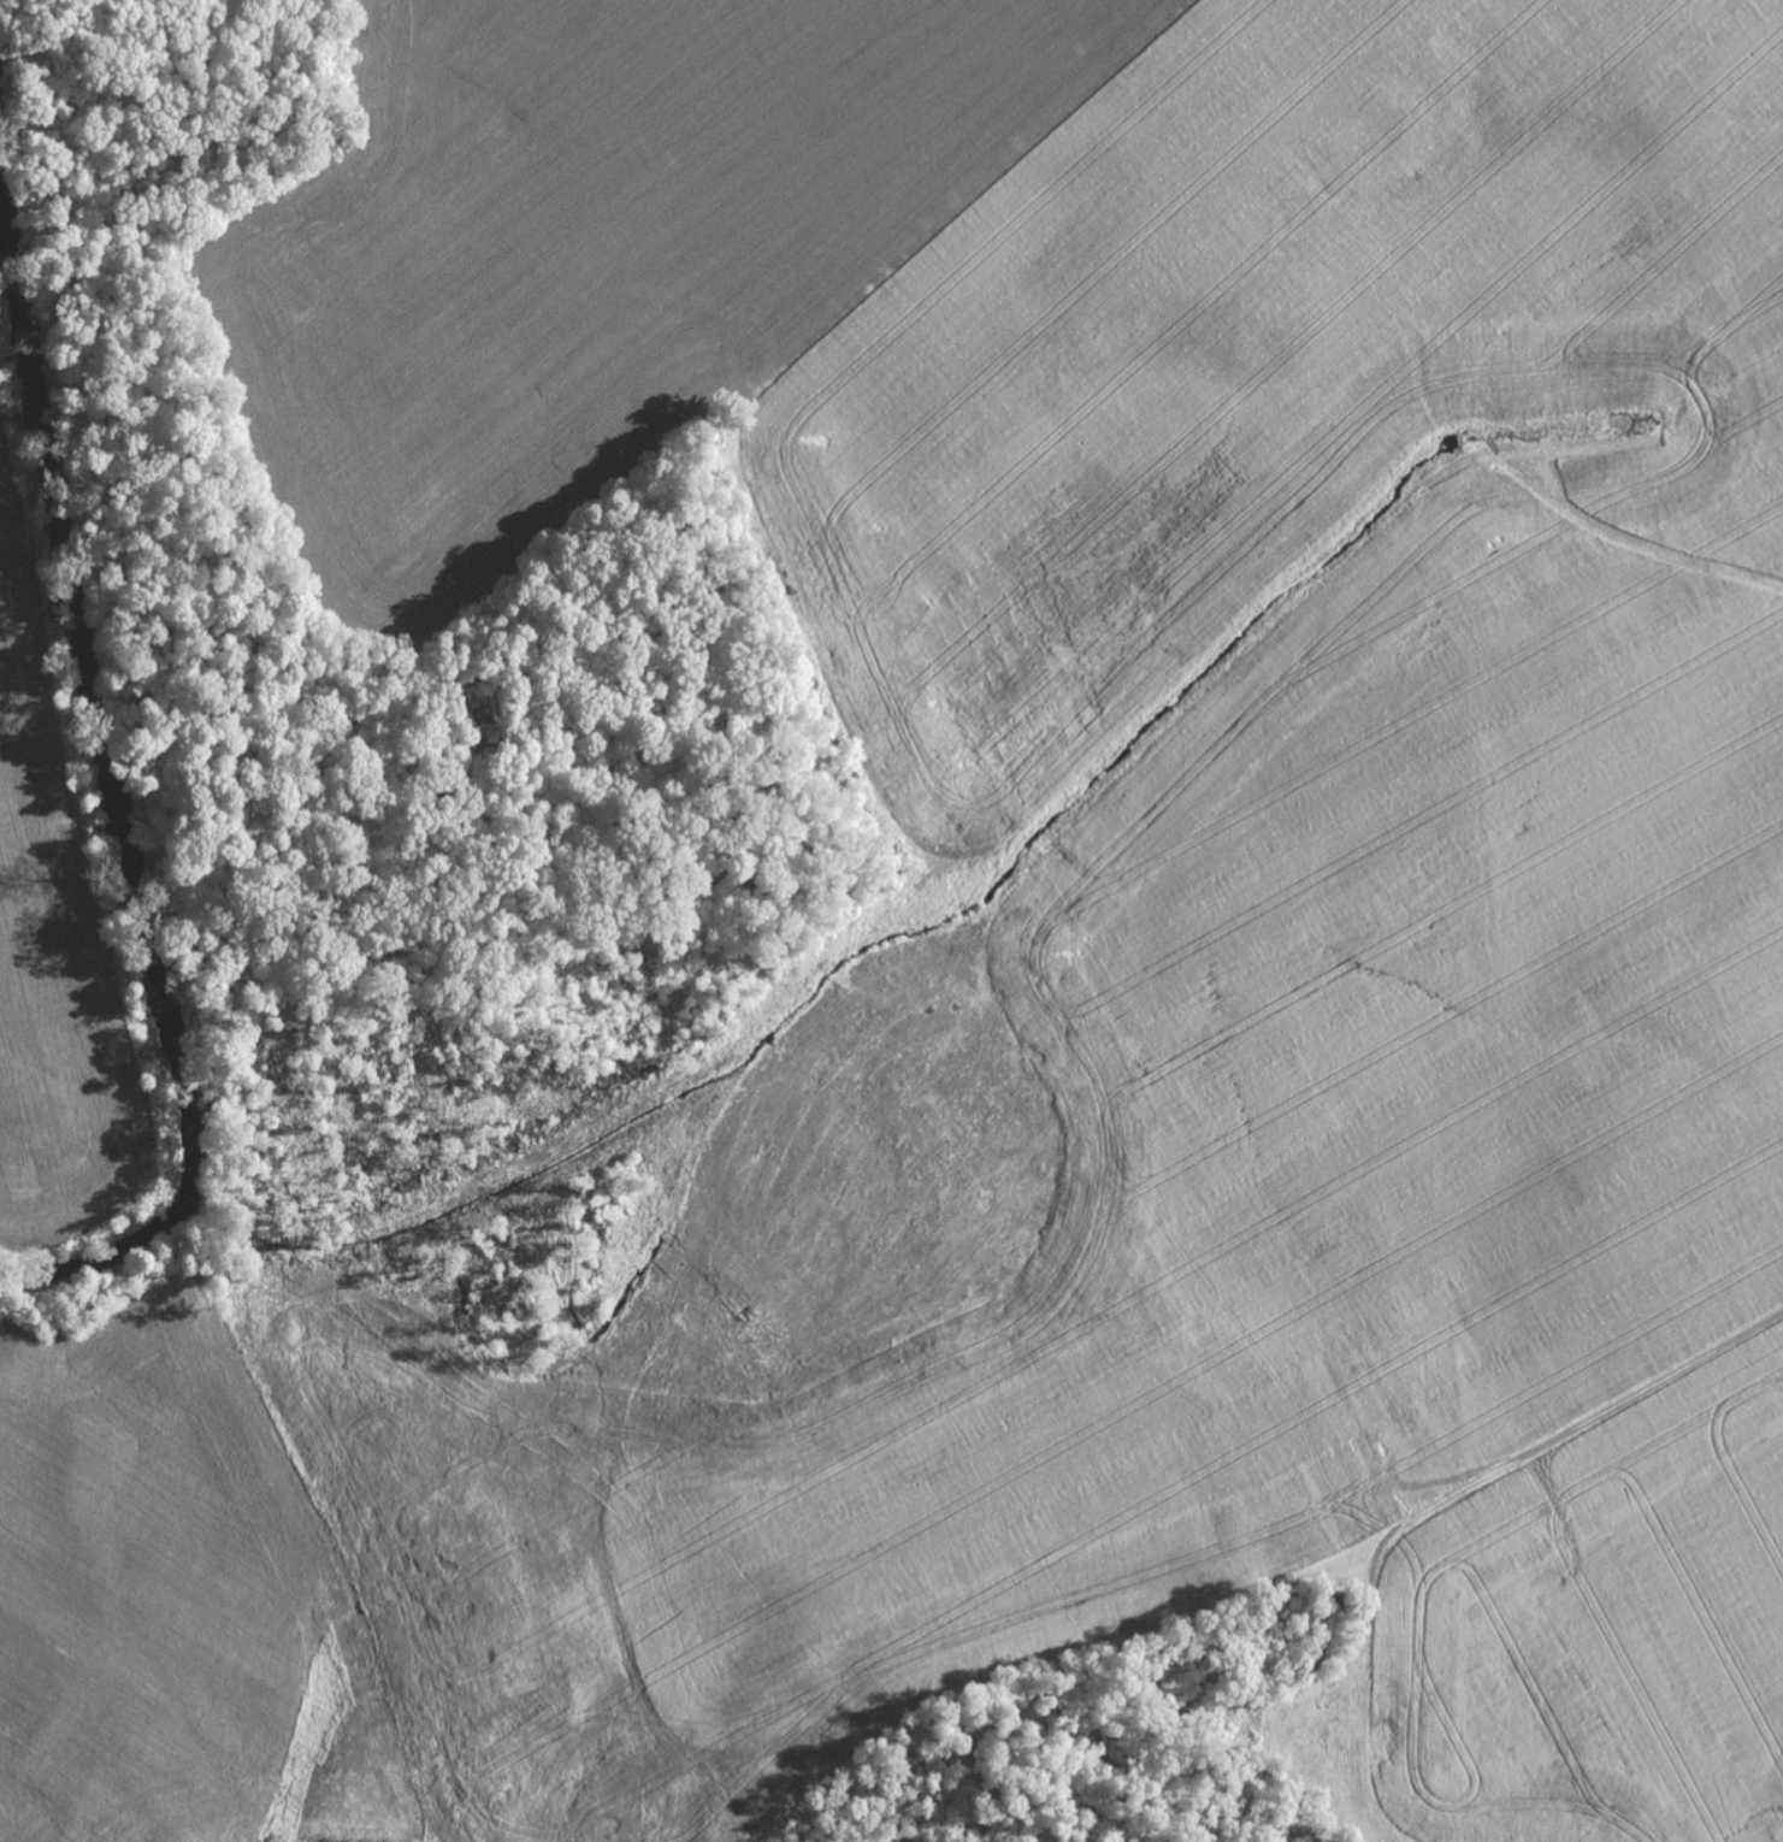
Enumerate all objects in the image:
road: (1524, 1407)

